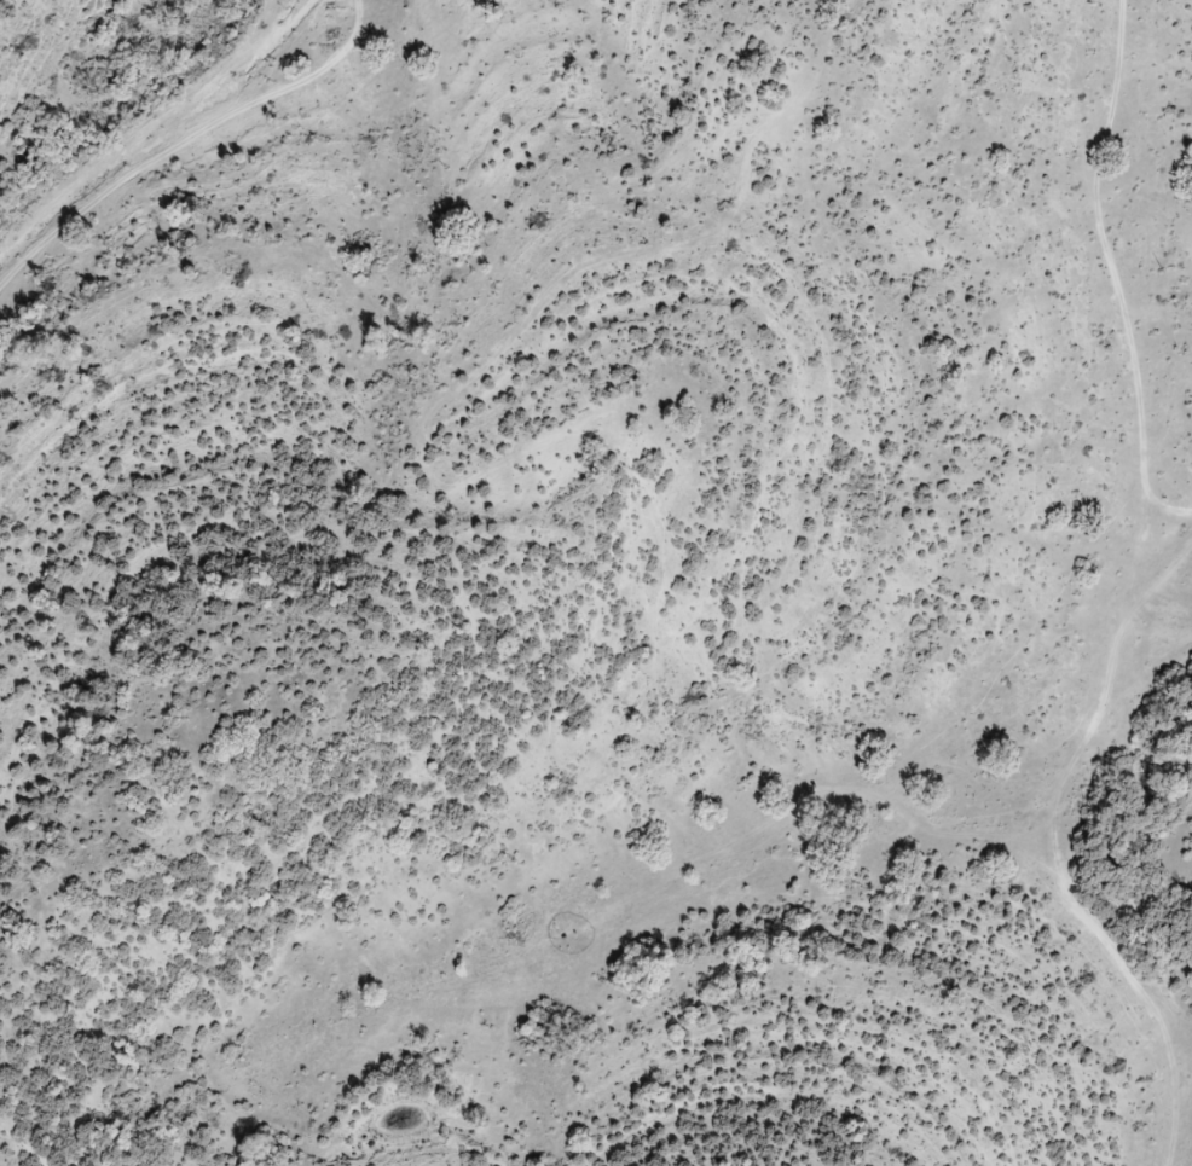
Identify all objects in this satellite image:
road: (125, 159)

